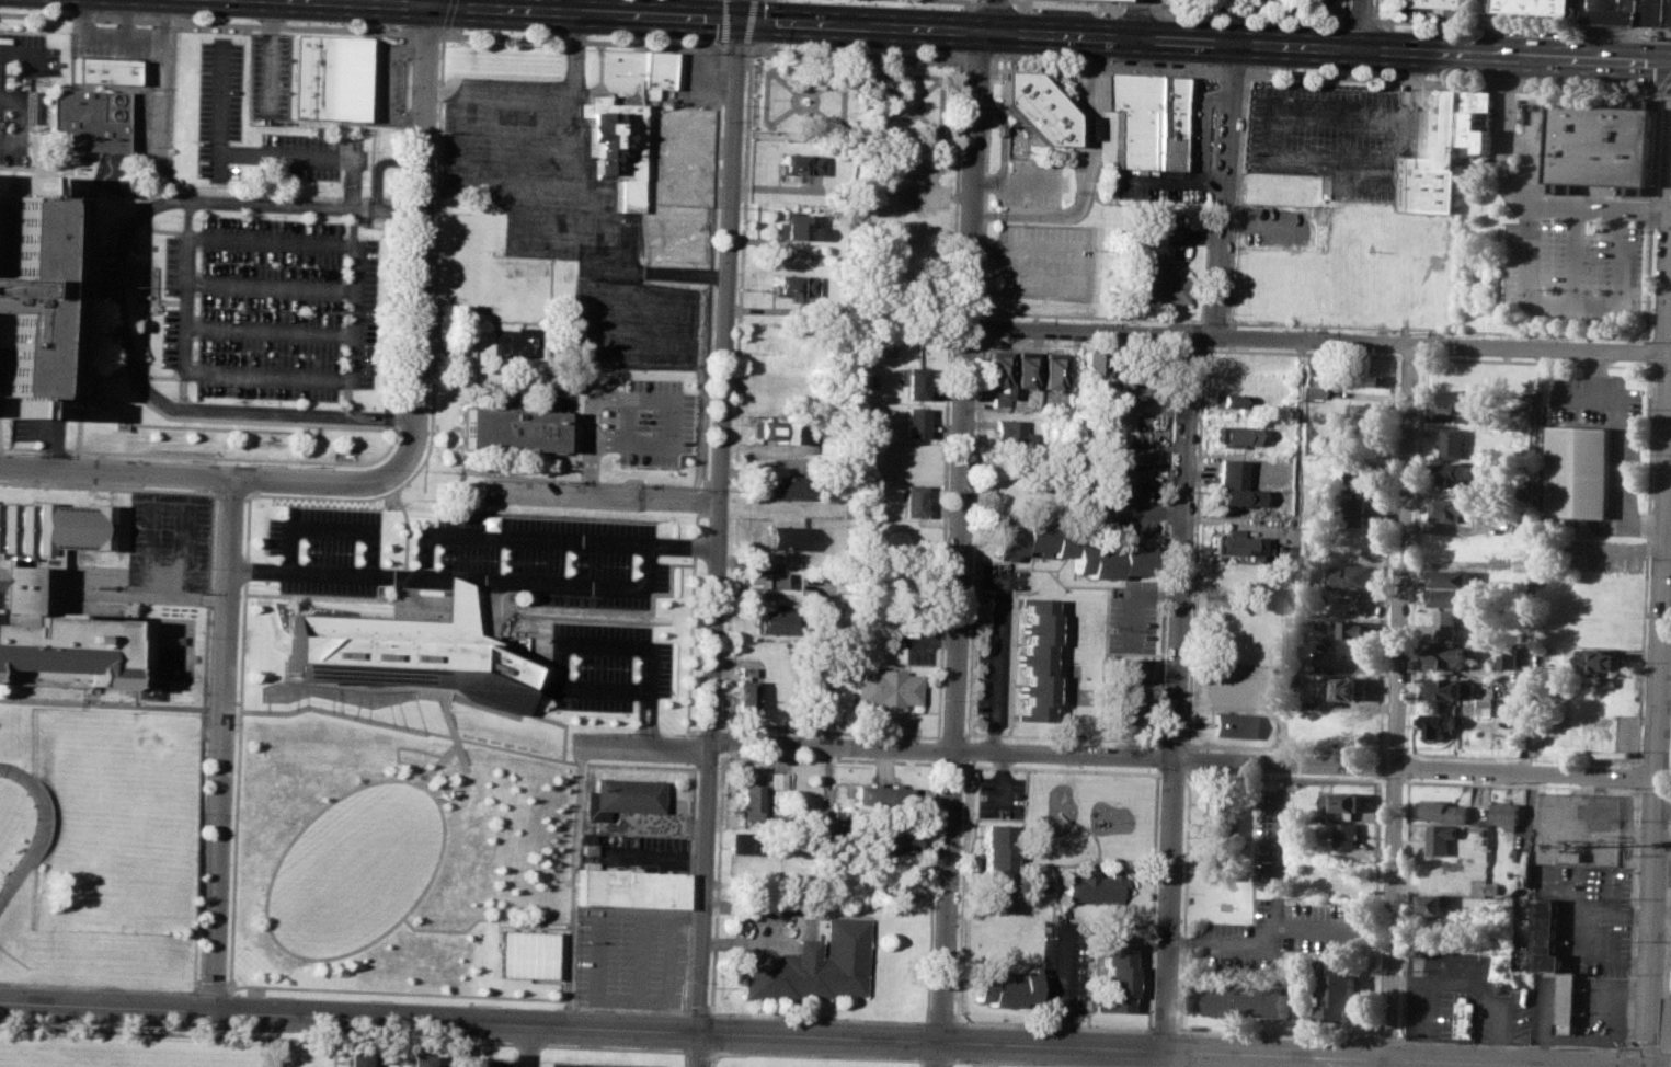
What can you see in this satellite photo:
road: (973, 0)
road: (1003, 0)
road: (1009, 1)
road: (1066, 3)
road: (1124, 3)
building: (1432, 3)
road: (965, 4)
road: (1152, 4)
building: (1536, 7)
road: (1136, 8)
road: (1343, 9)
road: (736, 10)
road: (1373, 10)
building: (1630, 12)
road: (448, 13)
road: (1247, 14)
road: (996, 15)
road: (122, 19)
road: (1136, 19)
road: (1359, 19)
traffic signals: (736, 20)
road: (721, 22)
road: (749, 22)
road: (203, 23)
road: (1360, 24)
road: (1520, 24)
road: (962, 30)
road: (1012, 31)
road: (425, 33)
road: (122, 37)
flagpole: (377, 38)
road: (581, 42)
road: (732, 46)
road: (747, 48)
road: (797, 53)
road: (266, 56)
road: (962, 56)
road: (895, 58)
road: (976, 61)
road: (988, 62)
road: (16, 69)
building: (101, 70)
park: (858, 70)
road: (1231, 71)
road: (1243, 72)
building: (668, 73)
road: (886, 73)
road: (1325, 76)
parking lot: (266, 77)
road: (766, 77)
building: (328, 78)
road: (781, 80)
parking lot: (382, 83)
road: (386, 84)
parking lot: (20, 87)
road: (1659, 89)
road: (1407, 92)
road: (446, 93)
road: (472, 94)
road: (811, 100)
fountain: (803, 101)
fountain: (907, 105)
road: (800, 106)
parking lot: (214, 107)
building: (1035, 107)
road: (213, 110)
road: (913, 112)
building: (1135, 117)
road: (868, 118)
road: (15, 119)
building: (83, 119)
road: (939, 119)
building: (1478, 121)
building: (1172, 123)
building: (1083, 127)
road: (1270, 134)
parking lot: (1331, 134)
road: (516, 145)
building: (614, 145)
building: (1600, 145)
parking lot: (308, 157)
building: (1433, 158)
building: (800, 163)
road: (382, 164)
road: (568, 172)
road: (1513, 175)
road: (1085, 176)
road: (985, 180)
road: (1014, 181)
parking lot: (1028, 183)
road: (1224, 188)
road: (1209, 196)
road: (1646, 206)
parking lot: (563, 215)
road: (182, 217)
road: (1650, 217)
road: (348, 219)
building: (792, 227)
road: (528, 234)
road: (1020, 249)
road: (1577, 251)
parking lot: (1041, 260)
road: (586, 265)
road: (709, 269)
road: (655, 271)
parking lot: (1573, 271)
building: (1153, 279)
building: (794, 284)
building: (1307, 294)
building: (41, 295)
road: (107, 297)
road: (1575, 299)
road: (176, 306)
parking lot: (265, 308)
road: (980, 314)
road: (417, 320)
road: (1212, 321)
road: (634, 322)
road: (1199, 322)
road: (684, 324)
road: (978, 328)
road: (1434, 330)
road: (1403, 331)
road: (1200, 333)
road: (1319, 336)
road: (432, 341)
road: (1397, 341)
road: (1075, 345)
road: (1201, 346)
building: (890, 348)
road: (1186, 348)
road: (1298, 352)
road: (1649, 352)
road: (1408, 356)
road: (1420, 357)
building: (1090, 363)
building: (1023, 368)
building: (1051, 368)
building: (998, 376)
building: (1360, 376)
building: (917, 381)
building: (1312, 391)
building: (1126, 392)
building: (1529, 394)
building: (1233, 399)
building: (1462, 400)
road: (586, 409)
building: (1372, 411)
building: (1522, 417)
road: (1670, 421)
building: (916, 422)
parking lot: (634, 424)
building: (770, 429)
building: (507, 431)
road: (390, 433)
building: (1012, 433)
building: (1233, 434)
road: (1420, 440)
building: (1454, 441)
building: (1132, 459)
road: (115, 471)
building: (1579, 471)
building: (1458, 472)
building: (1360, 474)
road: (596, 482)
building: (787, 485)
building: (1234, 485)
road: (107, 486)
road: (228, 493)
road: (602, 495)
road: (698, 501)
building: (913, 501)
building: (1455, 508)
parking lot: (1118, 509)
road: (1134, 509)
building: (1357, 510)
road: (327, 528)
road: (403, 532)
building: (786, 537)
road: (973, 538)
road: (549, 539)
road: (1668, 541)
road: (716, 542)
building: (1234, 543)
road: (1192, 544)
parking lot: (154, 546)
road: (1163, 547)
parking lot: (323, 549)
road: (958, 549)
building: (1073, 549)
road: (1295, 549)
road: (1387, 551)
road: (1534, 558)
parking lot: (551, 560)
road: (1645, 563)
road: (333, 574)
building: (1357, 576)
building: (1454, 577)
building: (765, 578)
road: (446, 580)
road: (569, 586)
building: (16, 590)
road: (133, 593)
road: (1132, 597)
building: (1454, 597)
parking lot: (1132, 616)
building: (772, 621)
building: (1449, 622)
road: (688, 627)
building: (1358, 628)
parking lot: (993, 641)
road: (592, 646)
road: (138, 650)
building: (409, 654)
building: (1450, 654)
building: (1511, 657)
building: (1037, 658)
building: (1601, 662)
road: (994, 664)
parking lot: (607, 666)
building: (1351, 687)
building: (884, 688)
building: (1451, 688)
building: (1126, 690)
road: (1175, 690)
building: (741, 698)
road: (1397, 699)
road: (101, 703)
building: (1489, 707)
building: (1509, 707)
road: (350, 712)
track: (0, 722)
building: (1236, 724)
building: (1440, 724)
road: (720, 726)
road: (722, 727)
road: (708, 728)
road: (695, 731)
road: (826, 731)
road: (1657, 732)
road: (935, 737)
road: (950, 737)
road: (964, 737)
road: (1060, 737)
road: (721, 739)
road: (201, 741)
road: (237, 741)
road: (1171, 742)
road: (219, 743)
road: (1189, 746)
road: (1284, 747)
road: (935, 749)
road: (691, 752)
road: (963, 752)
road: (1395, 752)
road: (720, 754)
building: (1621, 754)
road: (1117, 755)
road: (581, 756)
road: (1156, 756)
road: (1520, 757)
road: (826, 758)
road: (1189, 758)
road: (705, 759)
road: (829, 760)
road: (950, 762)
road: (934, 764)
road: (964, 764)
road: (1380, 765)
road: (1408, 766)
road: (693, 767)
road: (1061, 769)
road: (1156, 771)
road: (1188, 772)
road: (1171, 773)
road: (1284, 775)
road: (1637, 776)
road: (1381, 779)
road: (1394, 779)
building: (777, 780)
road: (1407, 780)
road: (999, 781)
road: (1407, 795)
parking lot: (999, 796)
building: (623, 799)
building: (748, 799)
building: (890, 799)
building: (1343, 801)
road: (580, 802)
road: (1662, 805)
building: (1606, 807)
building: (1444, 811)
road: (1670, 812)
building: (1509, 814)
track: (13, 822)
road: (1670, 823)
parking lot: (1273, 833)
road: (689, 834)
building: (1348, 834)
building: (1221, 835)
track: (37, 836)
building: (1440, 839)
road: (443, 840)
building: (748, 841)
building: (900, 844)
road: (653, 854)
road: (1278, 859)
building: (995, 867)
building: (1095, 885)
building: (900, 886)
building: (1495, 887)
building: (632, 888)
building: (1432, 902)
road: (480, 917)
road: (1630, 917)
parking lot: (1280, 932)
road: (1666, 933)
building: (1545, 934)
road: (1262, 941)
building: (528, 953)
building: (814, 964)
parking lot: (1064, 965)
building: (1112, 974)
road: (1478, 977)
road: (98, 986)
building: (1007, 987)
road: (1063, 988)
road: (209, 989)
building: (1338, 989)
road: (396, 991)
building: (1245, 996)
building: (1566, 1001)
road: (627, 1009)
road: (1423, 1010)
road: (697, 1011)
road: (816, 1017)
building: (1463, 1017)
building: (1669, 1021)
road: (939, 1022)
road: (1050, 1025)
road: (1161, 1031)
road: (236, 1034)
road: (800, 1035)
road: (1274, 1035)
road: (1384, 1039)
road: (460, 1042)
road: (463, 1044)
road: (1512, 1044)
road: (526, 1045)
road: (580, 1046)
road: (1645, 1048)
road: (1626, 1049)
road: (1666, 1051)
road: (698, 1052)
road: (1662, 1052)
road: (332, 1053)
road: (477, 1054)
road: (817, 1055)
building: (357, 1058)
road: (684, 1058)
road: (1176, 1058)
building: (421, 1059)
road: (713, 1059)
road: (935, 1059)
road: (1626, 1059)
road: (1661, 1059)
road: (388, 1060)
parking lot: (514, 1063)
road: (918, 1063)
road: (1039, 1063)
parking lot: (598, 1064)
road: (948, 1064)

